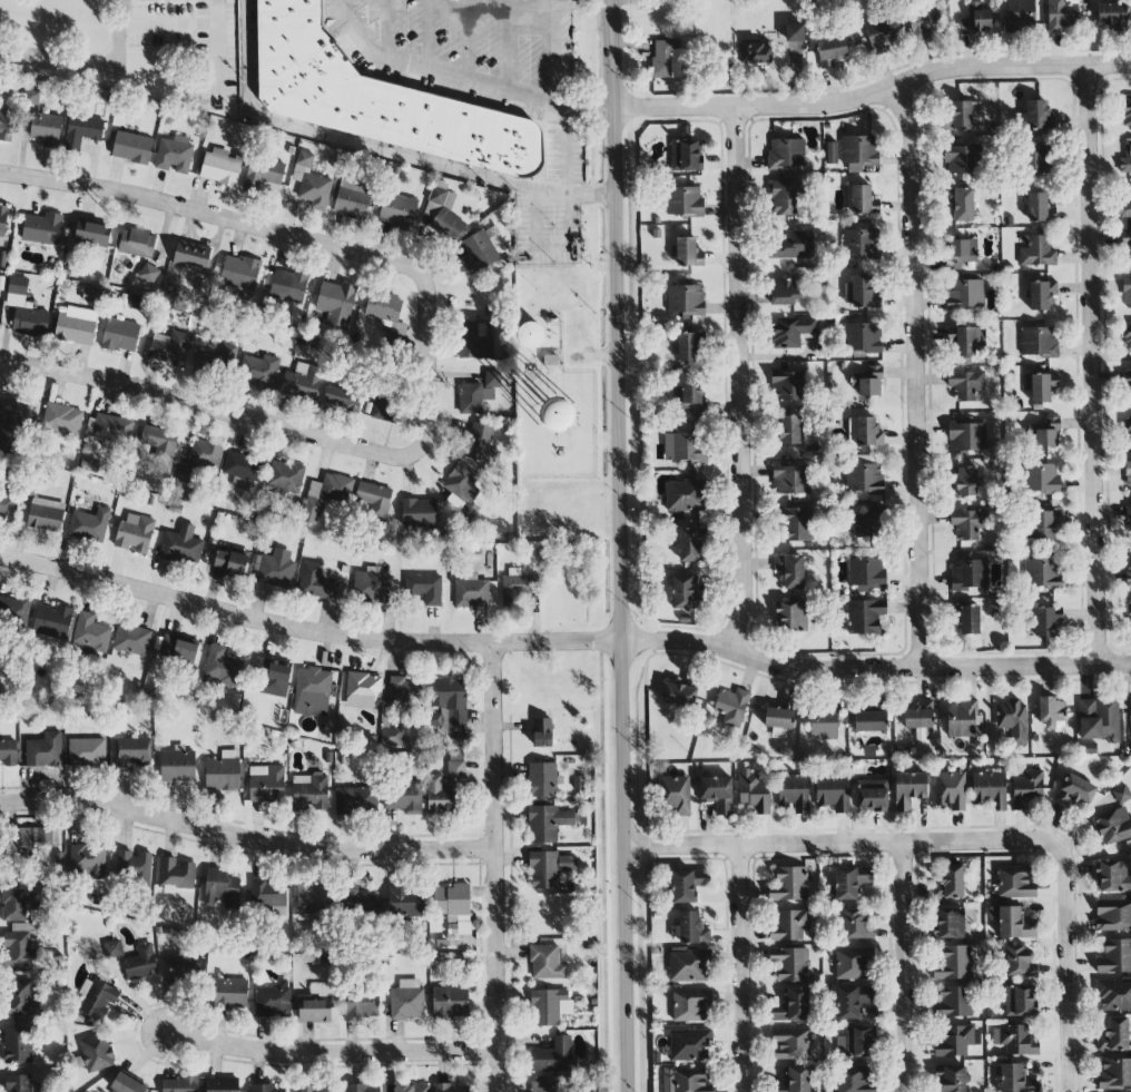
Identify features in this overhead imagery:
road: (476, 2)
road: (121, 12)
building: (1061, 14)
building: (1021, 16)
building: (975, 17)
building: (1113, 17)
building: (923, 20)
road: (386, 29)
building: (794, 32)
road: (423, 35)
building: (878, 36)
road: (216, 46)
road: (548, 47)
building: (829, 50)
road: (112, 52)
building: (755, 52)
building: (666, 58)
road: (430, 70)
building: (376, 98)
road: (872, 104)
building: (1125, 109)
road: (579, 110)
building: (965, 115)
building: (1037, 115)
building: (6, 125)
building: (46, 129)
building: (82, 129)
building: (131, 147)
road: (374, 148)
road: (563, 151)
building: (786, 153)
building: (859, 153)
building: (174, 155)
building: (687, 156)
building: (1037, 156)
building: (830, 158)
building: (963, 159)
building: (218, 167)
building: (263, 177)
building: (311, 181)
building: (353, 197)
building: (859, 199)
building: (784, 200)
building: (683, 201)
building: (960, 203)
building: (1125, 204)
building: (1037, 207)
building: (397, 210)
building: (442, 211)
building: (2, 224)
building: (41, 228)
building: (91, 234)
road: (292, 238)
building: (1127, 240)
building: (136, 243)
building: (862, 243)
building: (791, 245)
building: (480, 250)
building: (686, 252)
building: (961, 252)
building: (1036, 252)
building: (190, 255)
building: (148, 273)
building: (239, 276)
building: (288, 286)
building: (785, 292)
building: (860, 292)
building: (1127, 293)
building: (964, 294)
building: (1041, 295)
building: (91, 296)
building: (685, 299)
building: (334, 304)
building: (383, 306)
building: (24, 309)
building: (76, 326)
building: (791, 332)
building: (119, 335)
building: (529, 335)
building: (1127, 335)
building: (862, 337)
building: (474, 341)
building: (964, 341)
building: (1039, 341)
building: (686, 347)
building: (169, 348)
building: (217, 357)
building: (260, 371)
road: (1094, 373)
building: (1128, 377)
building: (869, 381)
building: (302, 382)
road: (744, 382)
road: (919, 383)
building: (1025, 383)
building: (965, 384)
building: (1042, 386)
building: (479, 393)
building: (342, 397)
building: (690, 401)
building: (387, 402)
road: (213, 411)
building: (555, 414)
building: (61, 419)
building: (11, 420)
building: (1129, 427)
building: (109, 429)
building: (787, 430)
building: (864, 432)
building: (1044, 433)
building: (966, 436)
building: (158, 442)
building: (480, 444)
building: (682, 447)
building: (198, 459)
building: (89, 465)
building: (242, 469)
building: (284, 476)
building: (1128, 476)
building: (864, 478)
building: (1041, 479)
building: (790, 480)
building: (964, 481)
building: (325, 495)
building: (685, 495)
building: (372, 500)
building: (8, 509)
building: (417, 513)
building: (45, 515)
building: (1129, 521)
building: (869, 523)
building: (967, 523)
building: (89, 524)
building: (795, 524)
building: (1044, 524)
building: (134, 533)
building: (690, 544)
road: (619, 545)
building: (181, 547)
building: (229, 562)
building: (276, 569)
building: (790, 570)
building: (1129, 571)
building: (866, 573)
building: (1043, 573)
building: (968, 575)
building: (315, 581)
building: (371, 587)
building: (518, 587)
building: (424, 588)
building: (471, 592)
building: (681, 592)
building: (13, 611)
building: (1129, 612)
building: (790, 616)
building: (865, 616)
building: (968, 620)
building: (52, 621)
building: (1046, 621)
building: (90, 633)
building: (131, 639)
road: (562, 642)
building: (178, 648)
building: (220, 668)
building: (272, 677)
building: (362, 690)
building: (404, 691)
building: (312, 692)
building: (678, 695)
building: (449, 700)
building: (730, 707)
building: (1051, 712)
building: (780, 715)
building: (917, 716)
building: (871, 717)
building: (963, 719)
building: (1099, 719)
building: (824, 721)
building: (1011, 721)
building: (542, 732)
building: (391, 737)
building: (43, 750)
building: (132, 751)
building: (8, 752)
building: (86, 752)
building: (177, 766)
building: (223, 773)
building: (542, 779)
building: (266, 784)
building: (908, 789)
building: (989, 789)
building: (1026, 789)
building: (950, 790)
building: (1075, 790)
building: (753, 791)
building: (309, 793)
building: (717, 793)
building: (794, 793)
building: (675, 794)
building: (1121, 794)
building: (832, 795)
building: (873, 796)
building: (402, 798)
building: (355, 800)
building: (550, 823)
building: (1113, 825)
road: (245, 838)
building: (33, 842)
road: (842, 844)
road: (510, 860)
building: (87, 862)
building: (132, 866)
road: (495, 868)
building: (548, 868)
building: (176, 875)
building: (1113, 876)
building: (952, 882)
building: (1014, 882)
building: (849, 883)
building: (687, 884)
building: (790, 884)
building: (220, 888)
building: (268, 896)
building: (405, 901)
building: (312, 902)
building: (20, 904)
building: (453, 907)
building: (1113, 915)
building: (948, 923)
building: (1012, 923)
building: (857, 924)
building: (789, 925)
building: (692, 928)
building: (21, 950)
building: (1114, 956)
building: (1016, 962)
building: (140, 963)
building: (545, 963)
building: (854, 963)
building: (954, 963)
building: (790, 964)
building: (688, 965)
road: (905, 967)
road: (740, 968)
road: (1066, 970)
building: (186, 973)
building: (229, 993)
building: (1112, 993)
building: (20, 997)
building: (98, 1000)
building: (406, 1000)
building: (850, 1001)
building: (1019, 1001)
building: (272, 1002)
building: (450, 1002)
building: (952, 1002)
building: (361, 1004)
building: (316, 1005)
building: (690, 1005)
building: (549, 1006)
building: (791, 1006)
building: (1114, 1034)
building: (1014, 1040)
building: (956, 1041)
building: (856, 1042)
building: (791, 1043)
building: (17, 1045)
building: (689, 1045)
building: (96, 1052)
building: (554, 1056)
road: (332, 1062)
building: (1114, 1073)
building: (951, 1078)
building: (1015, 1079)
building: (686, 1080)
building: (795, 1080)
building: (855, 1080)
building: (20, 1083)
building: (127, 1084)
building: (177, 1084)
building: (222, 1085)
building: (544, 1086)
building: (266, 1088)
building: (362, 1088)
building: (411, 1088)
building: (449, 1088)
building: (316, 1089)

